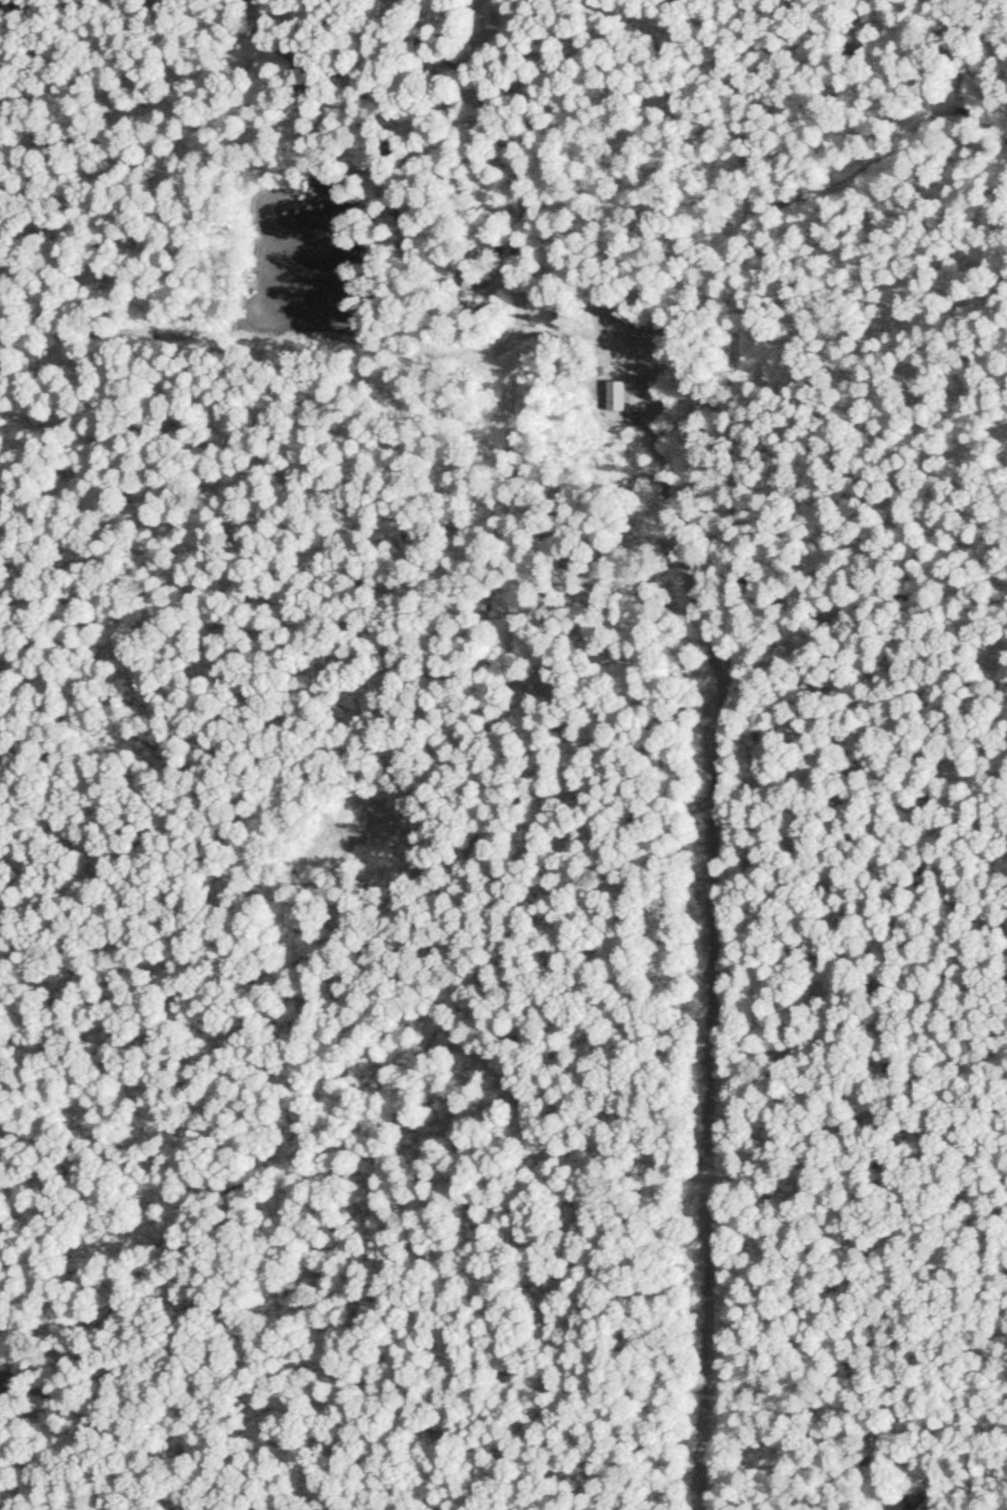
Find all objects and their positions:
building: (617, 394)
road: (730, 754)
building: (10, 1384)

